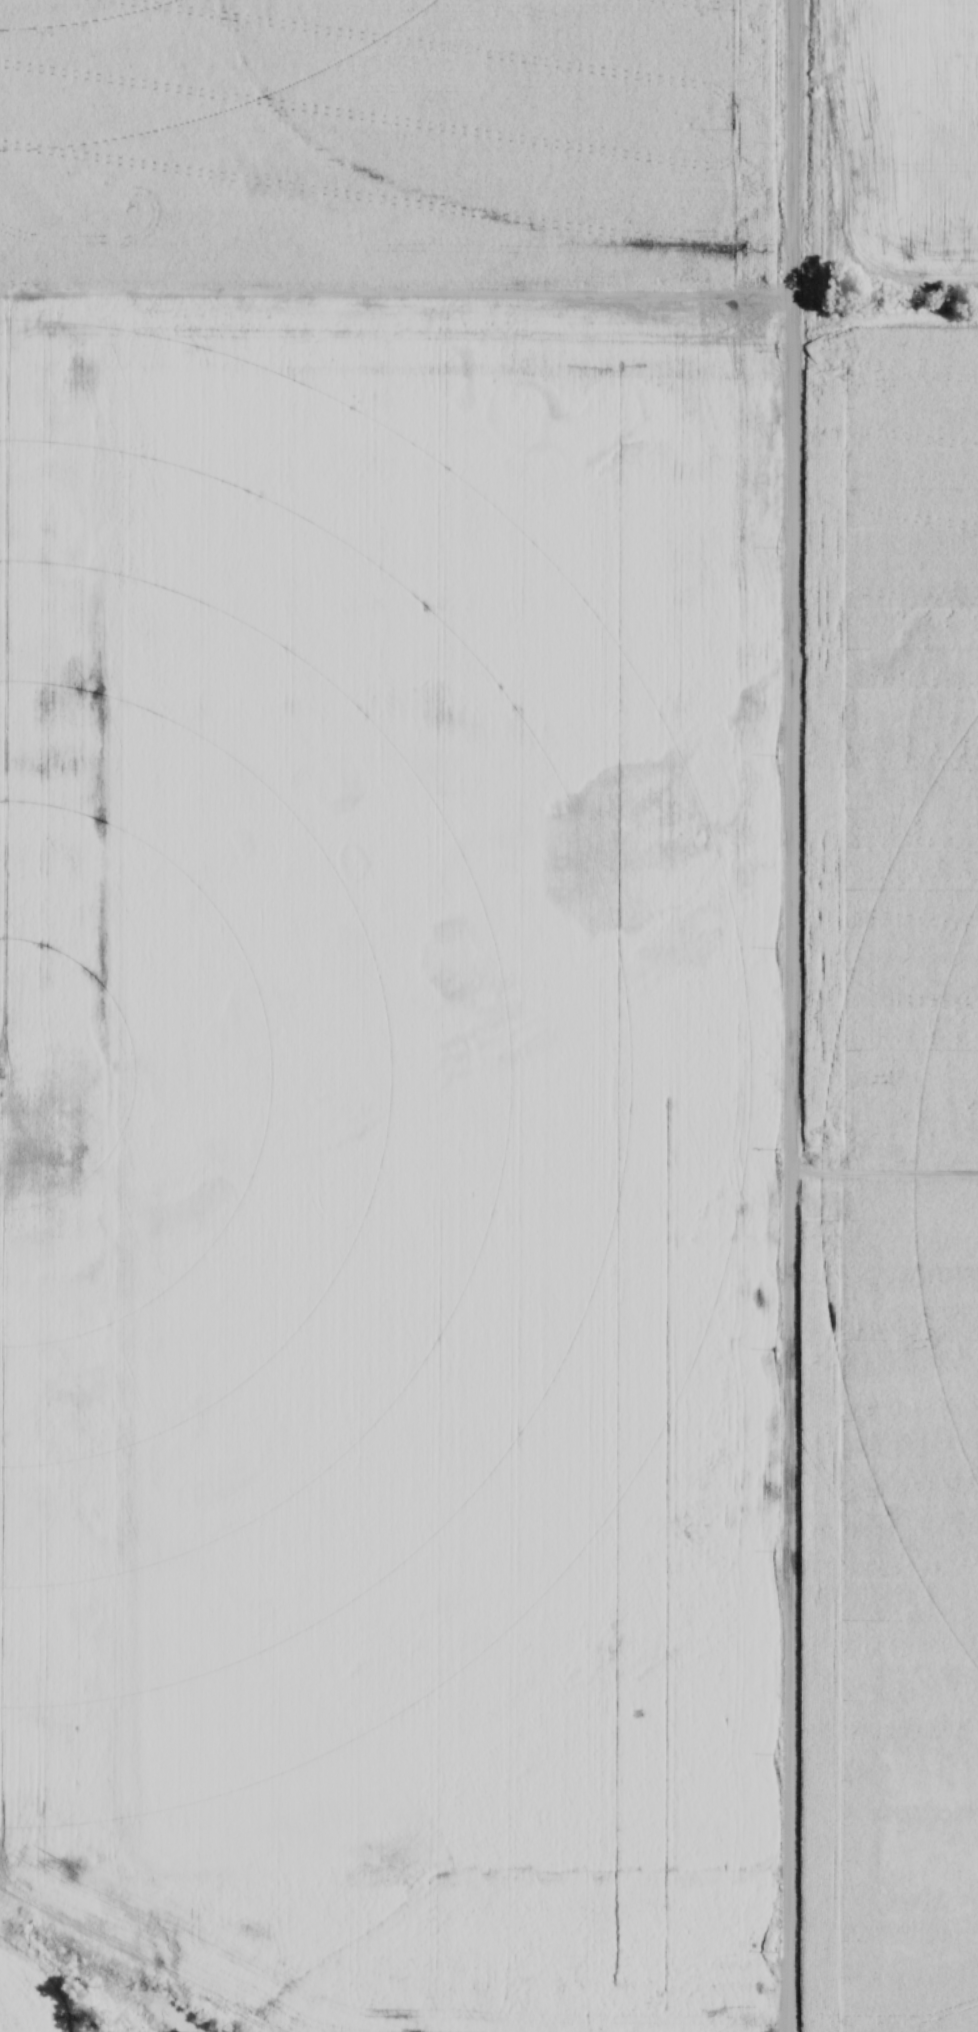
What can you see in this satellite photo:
road: (788, 1016)
crop: (896, 1195)

